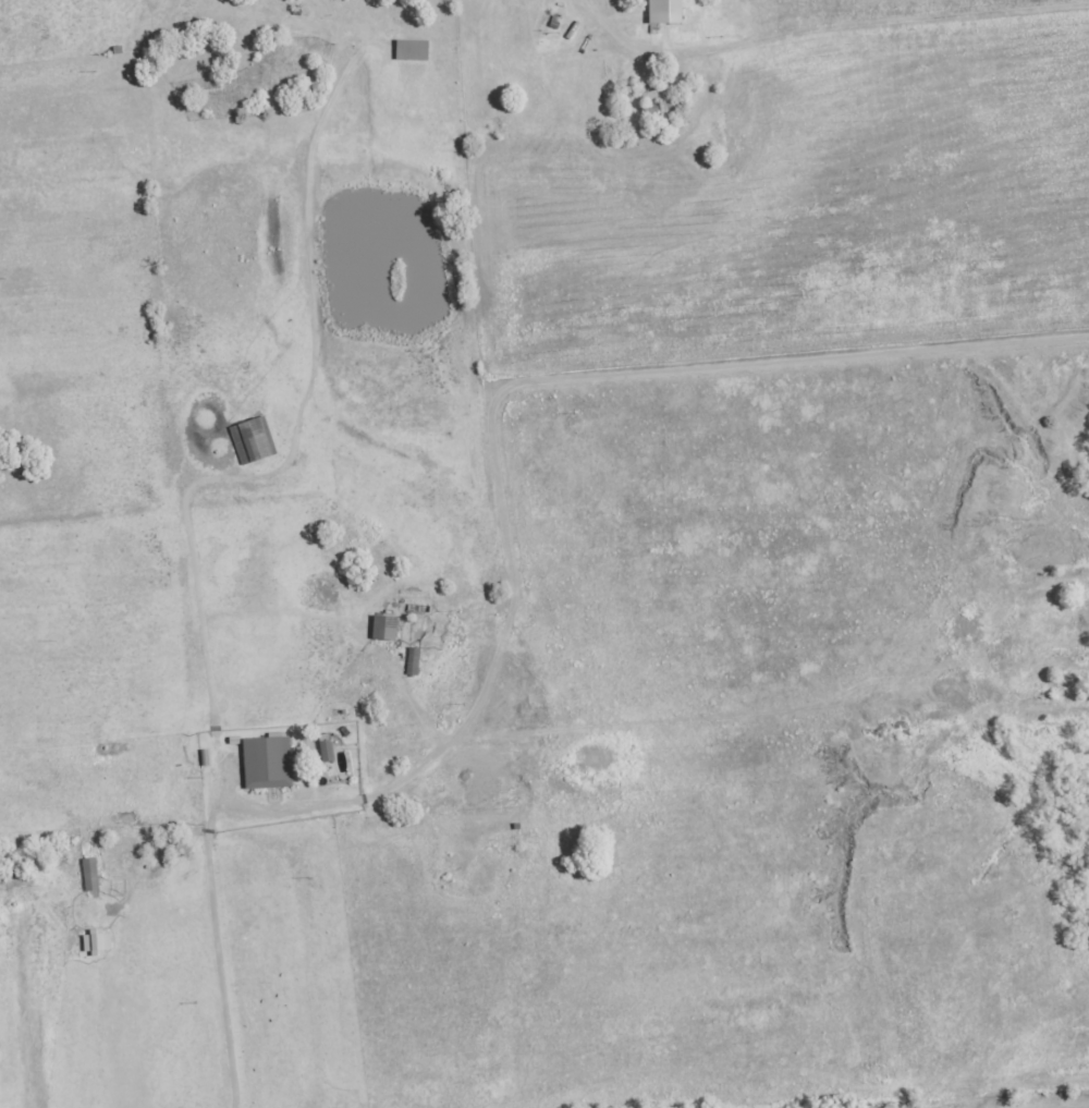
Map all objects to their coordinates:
road: (937, 11)
building: (656, 22)
building: (407, 50)
building: (653, 111)
road: (498, 411)
building: (248, 440)
building: (414, 608)
building: (379, 628)
building: (409, 661)
building: (262, 763)
building: (86, 875)
road: (1053, 1104)

